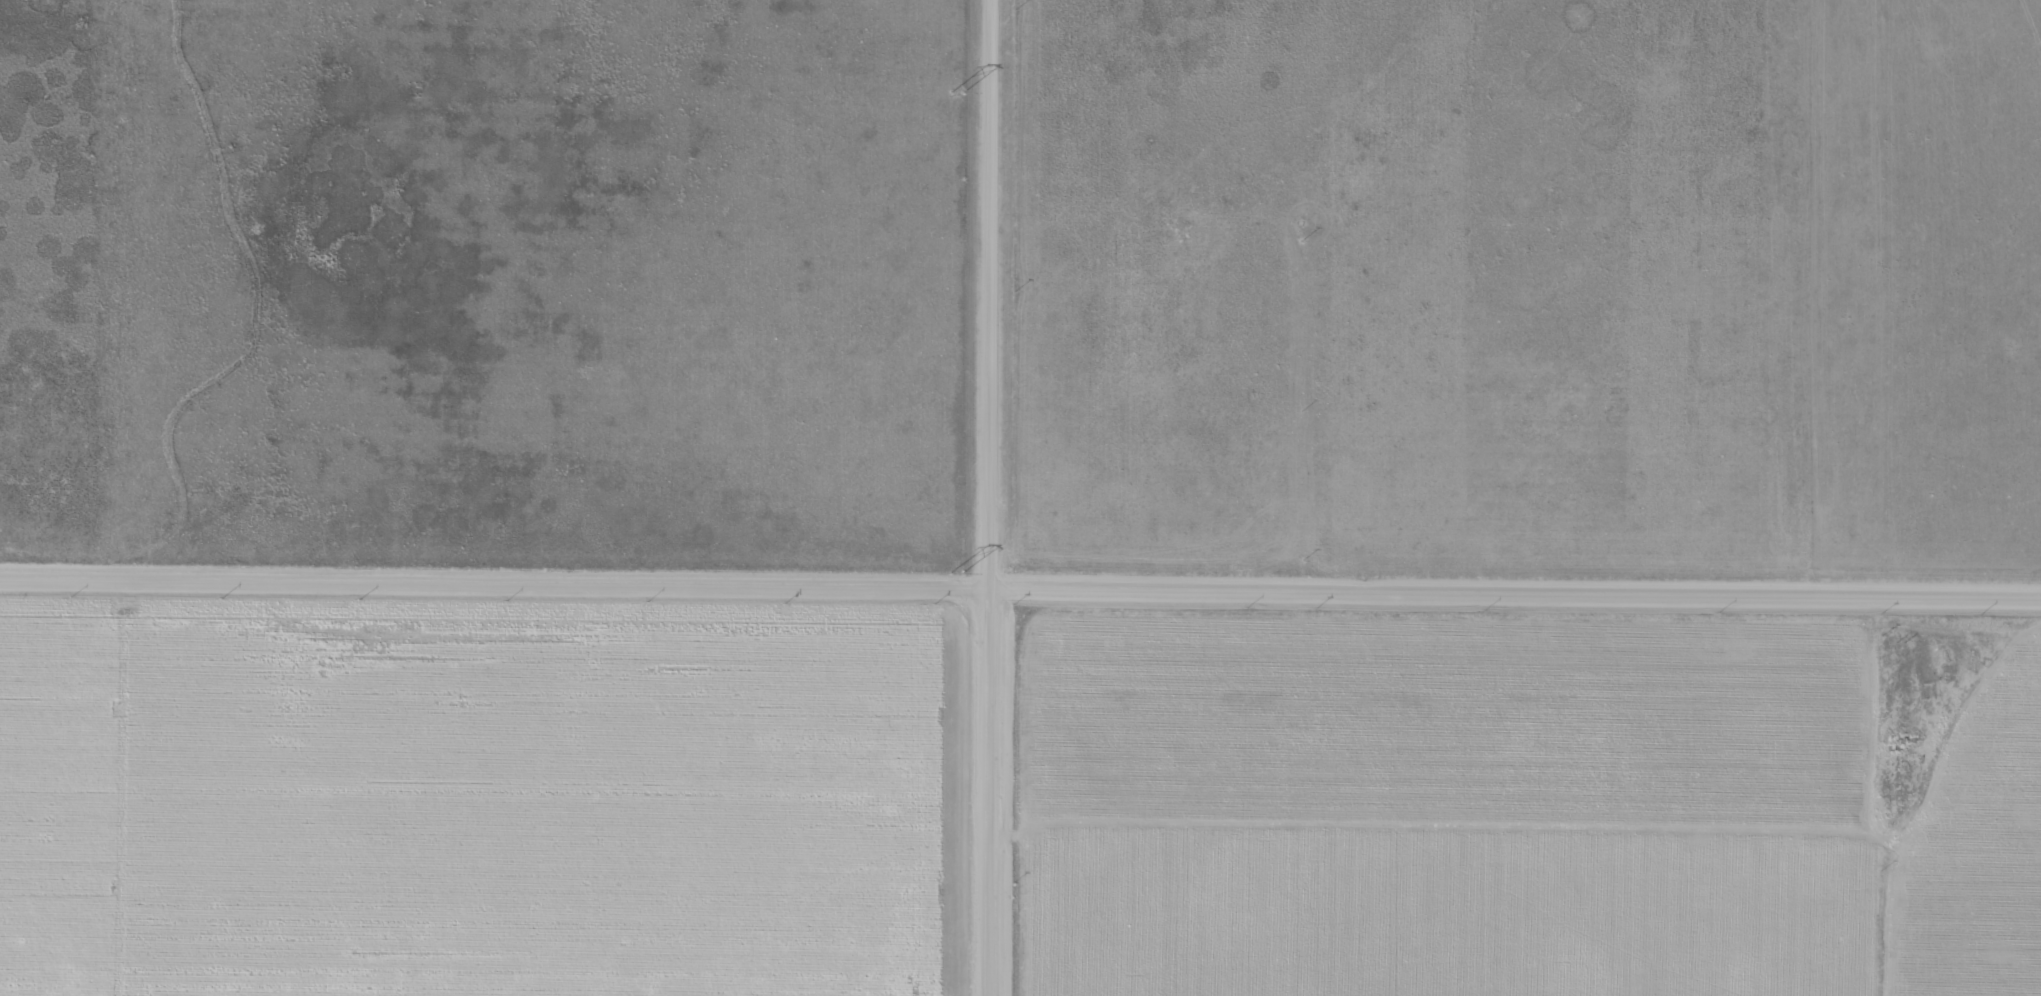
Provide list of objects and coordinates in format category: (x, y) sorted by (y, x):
power tower: (954, 91)
road: (1830, 294)
road: (1010, 498)
power tower: (953, 571)
road: (1020, 584)

